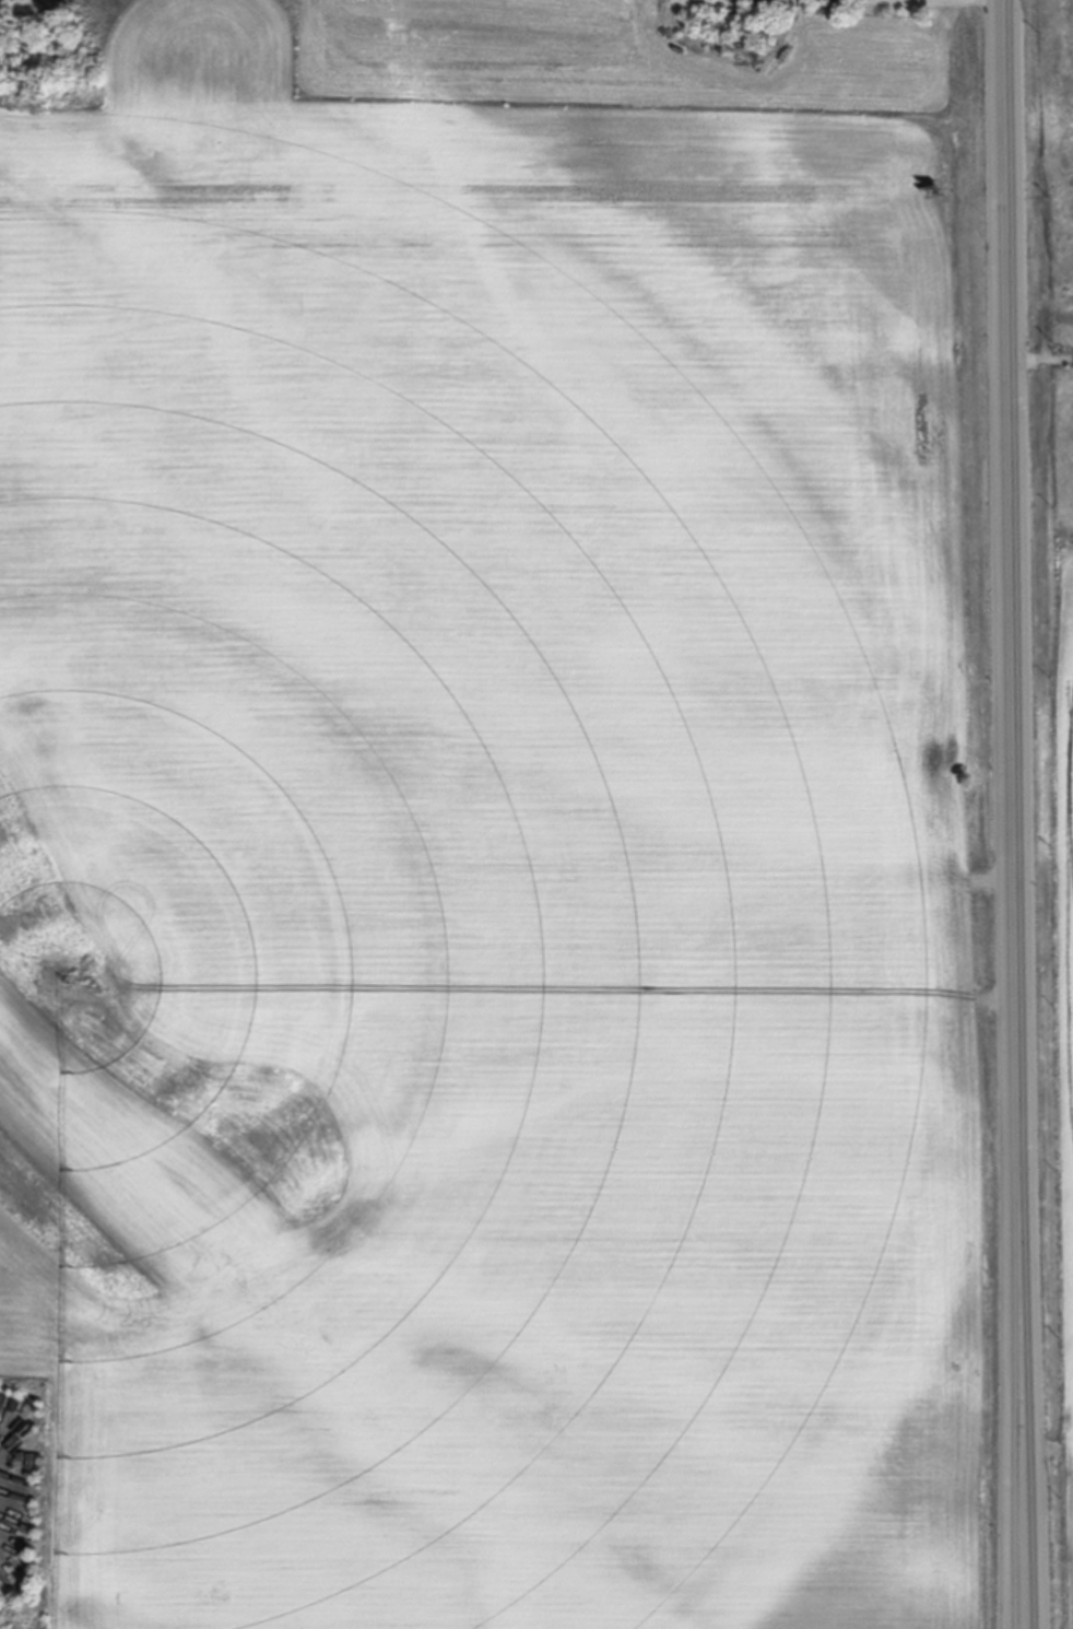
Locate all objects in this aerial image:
building: (778, 2)
road: (1025, 814)

